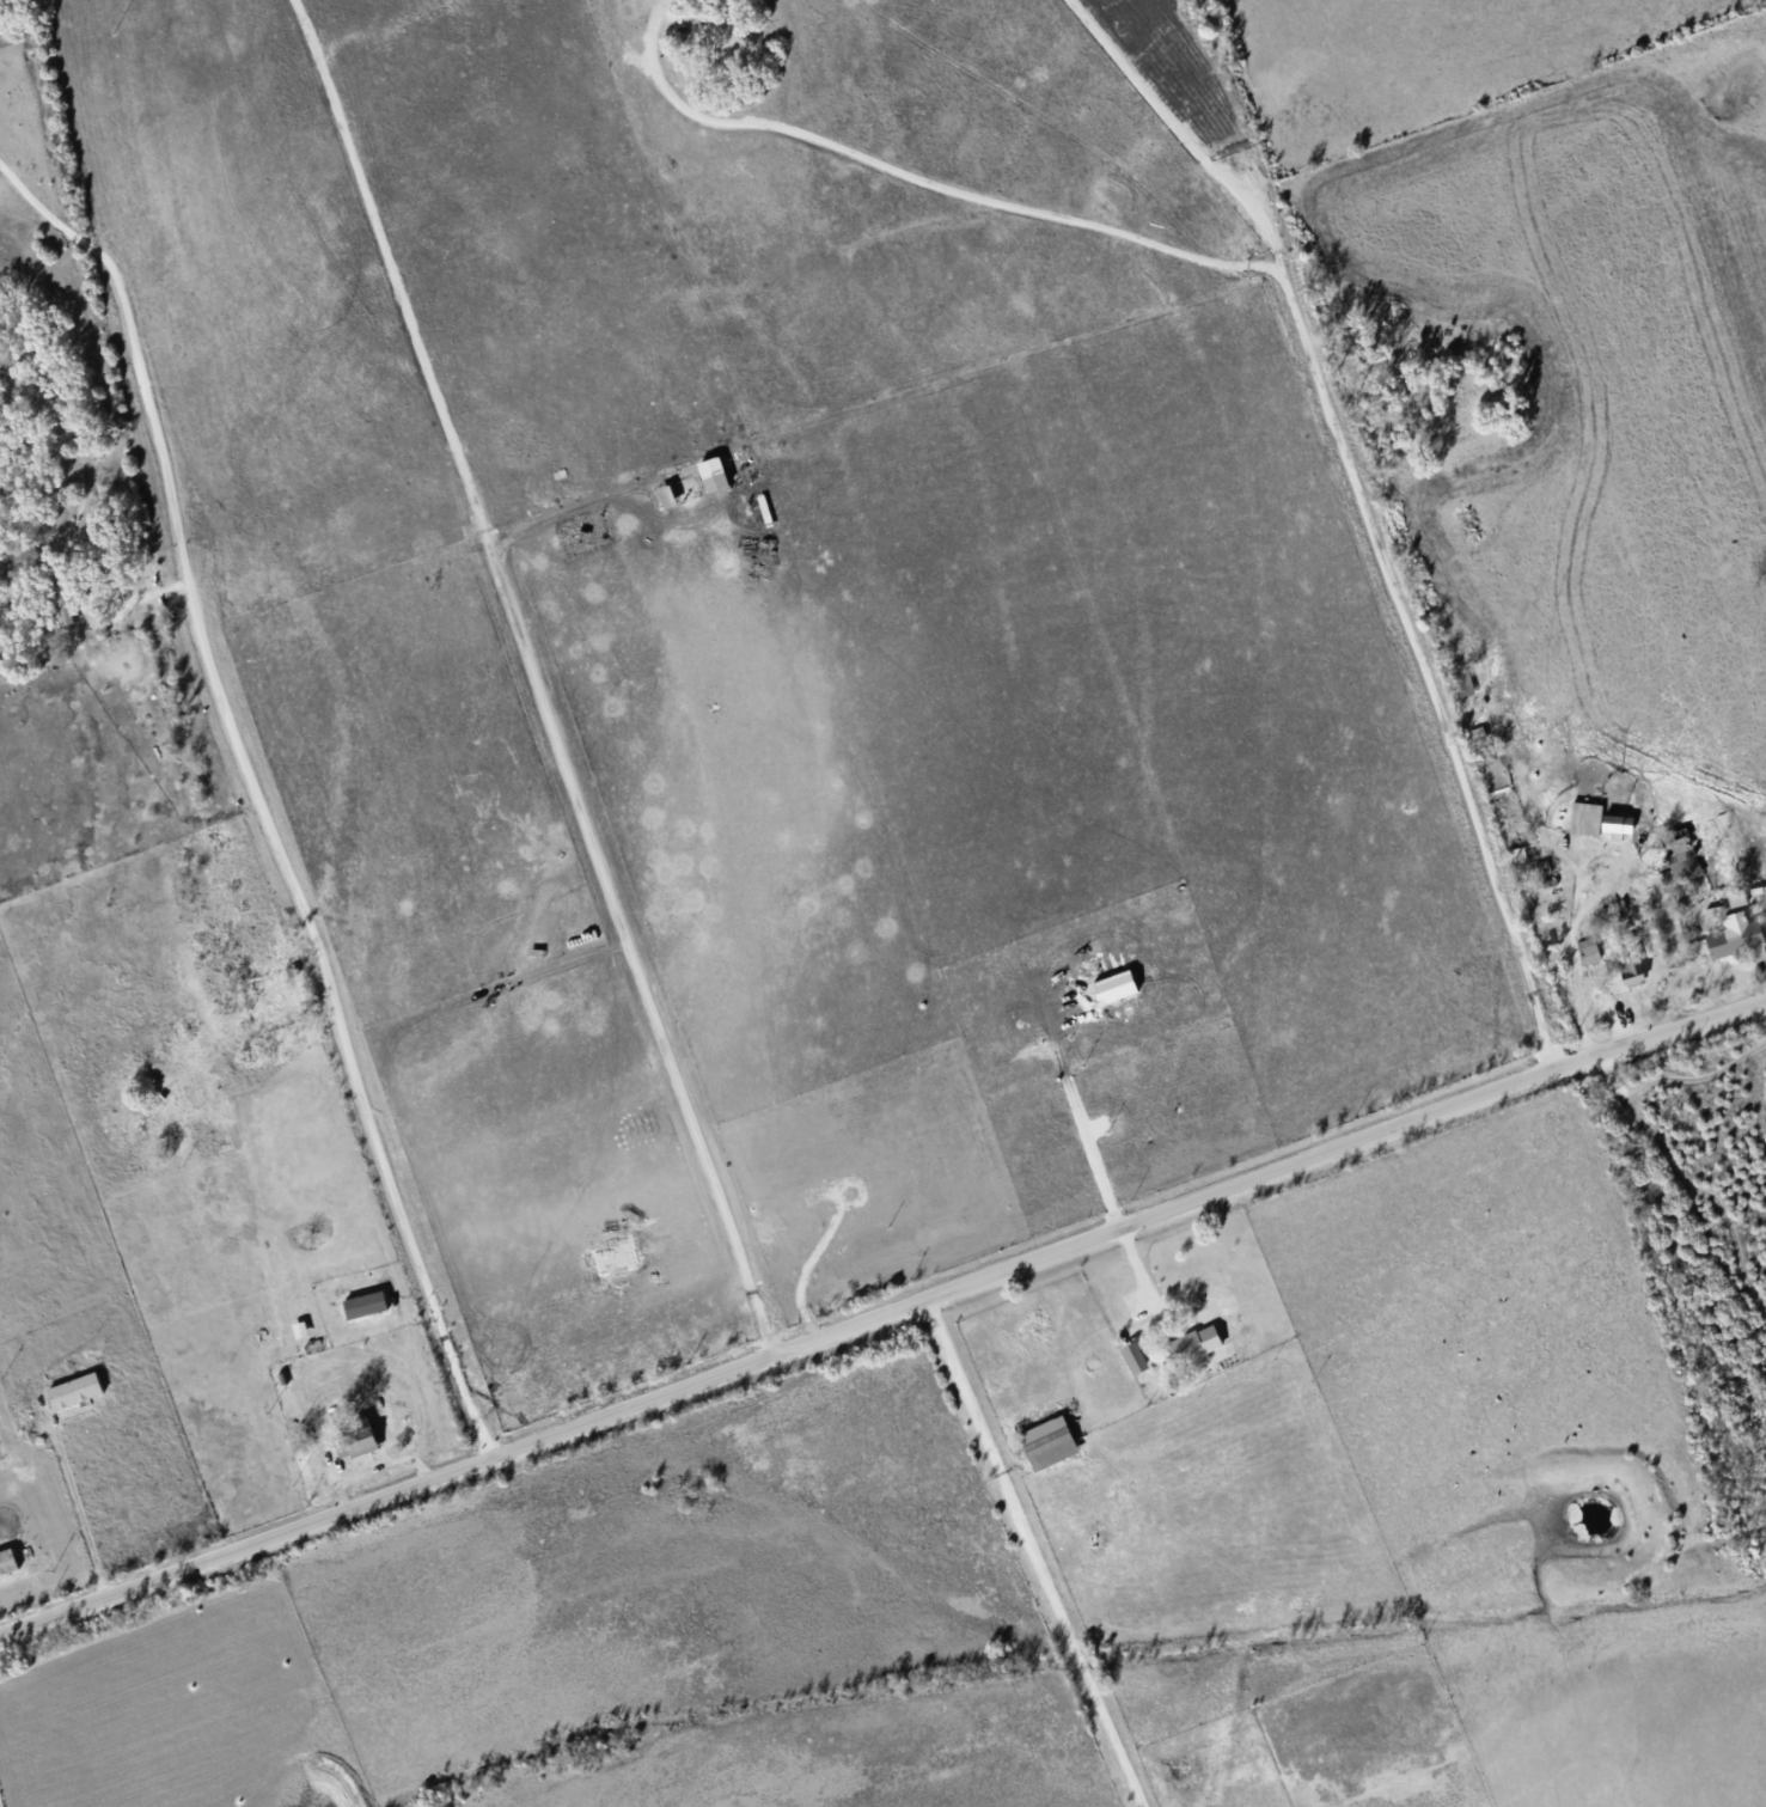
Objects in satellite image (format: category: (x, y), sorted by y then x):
road: (929, 175)
road: (134, 367)
building: (715, 471)
building: (667, 495)
road: (1373, 506)
building: (1465, 683)
building: (1587, 817)
building: (1619, 824)
building: (1683, 859)
road: (601, 871)
road: (1576, 890)
building: (1737, 897)
building: (1735, 945)
building: (1583, 956)
building: (1631, 969)
road: (325, 995)
road: (1074, 1104)
road: (1141, 1278)
building: (366, 1302)
road: (882, 1317)
building: (300, 1329)
building: (1186, 1349)
building: (1136, 1356)
building: (1130, 1365)
building: (74, 1390)
building: (356, 1441)
building: (1043, 1448)
road: (73, 1514)
road: (1033, 1553)
building: (8, 1561)

